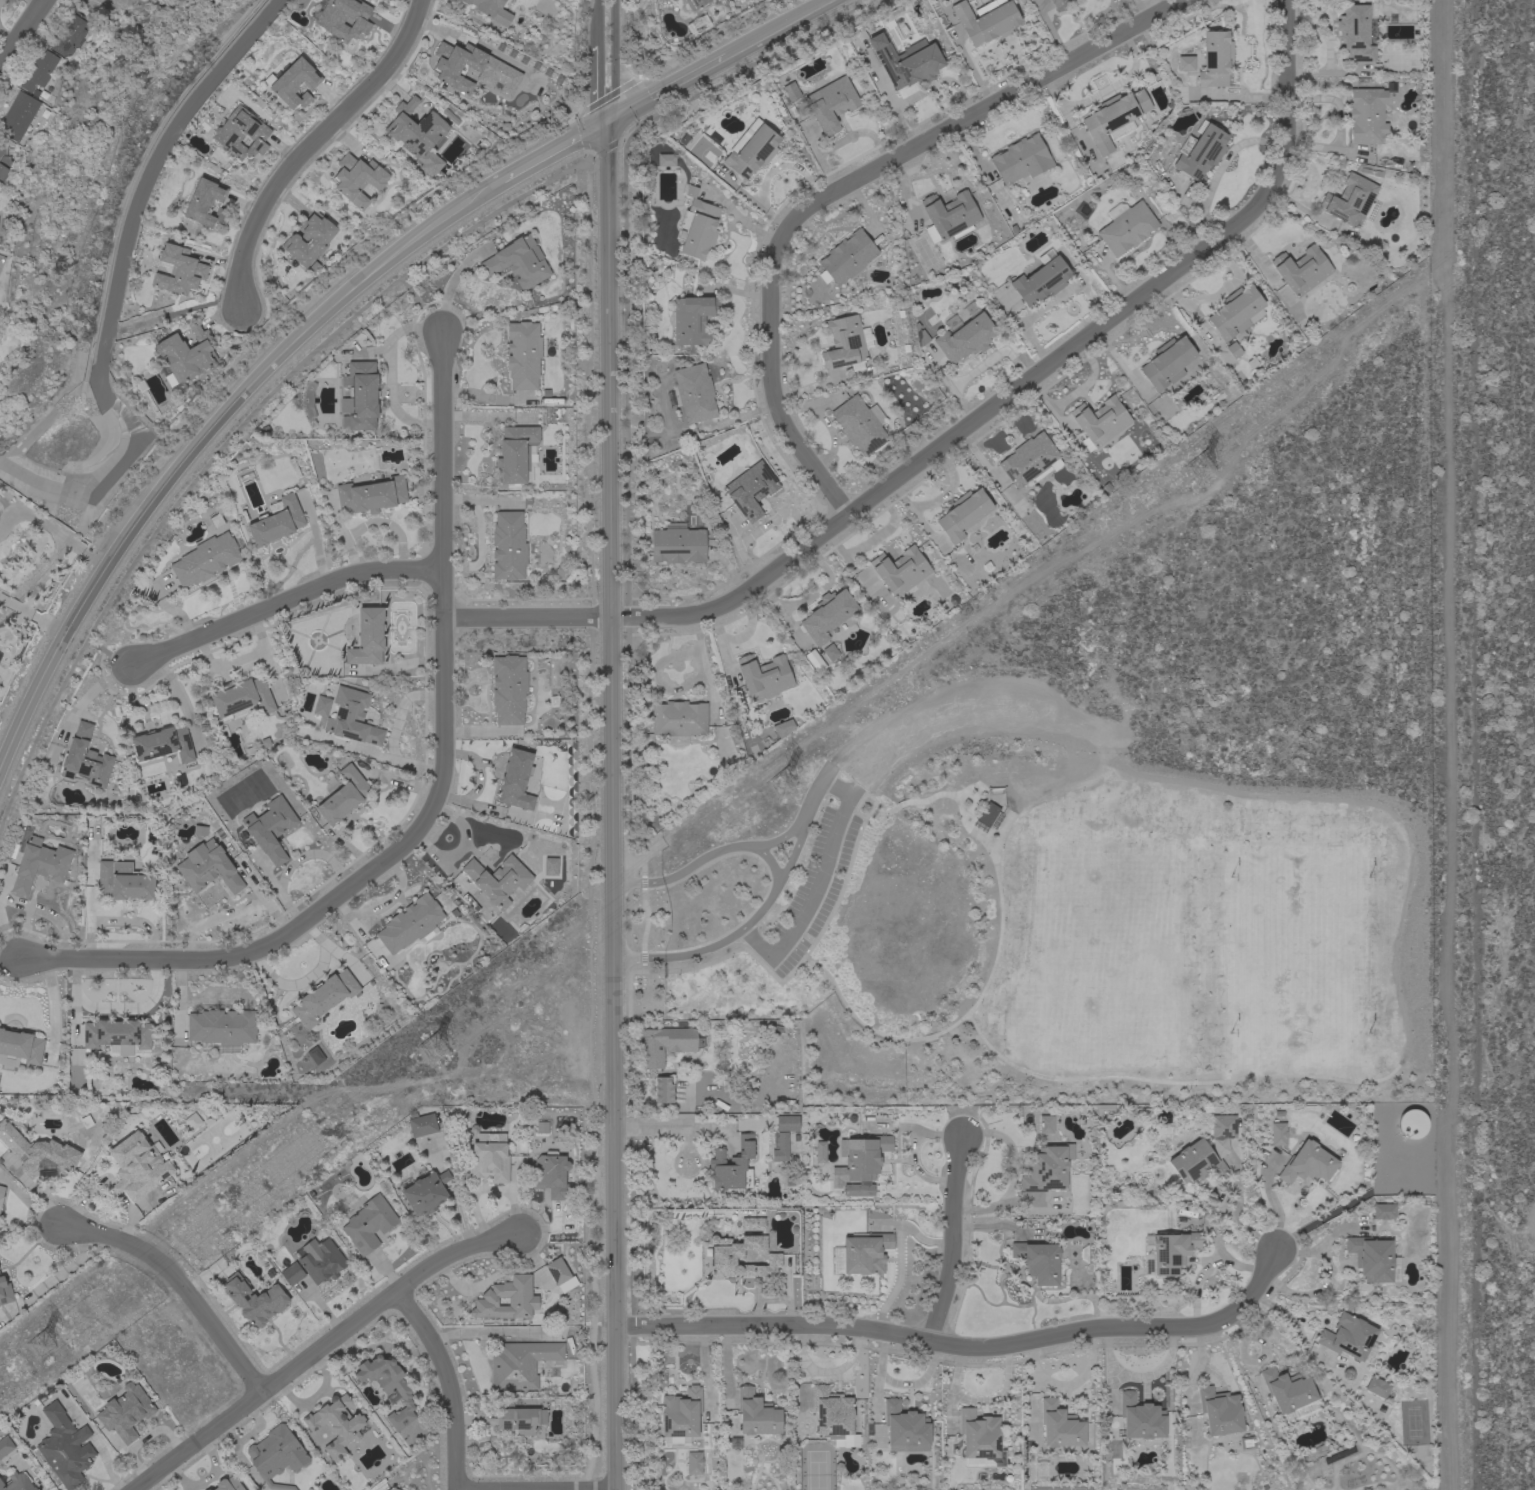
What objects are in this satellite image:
building: (1058, 2)
building: (694, 4)
building: (486, 7)
building: (342, 18)
road: (596, 19)
building: (986, 20)
road: (775, 27)
road: (22, 32)
building: (1357, 33)
building: (68, 36)
road: (711, 37)
building: (1214, 60)
road: (611, 62)
building: (1185, 63)
building: (913, 65)
building: (491, 68)
building: (38, 71)
road: (595, 82)
building: (295, 84)
road: (666, 89)
building: (789, 91)
building: (831, 104)
road: (574, 114)
building: (1368, 115)
building: (18, 116)
building: (1114, 119)
traffic signals: (606, 124)
building: (241, 134)
building: (417, 135)
road: (309, 146)
building: (752, 150)
building: (1200, 151)
road: (550, 152)
building: (3, 159)
building: (1019, 159)
building: (666, 160)
building: (357, 179)
road: (838, 187)
building: (1349, 201)
building: (204, 203)
building: (949, 214)
road: (624, 226)
building: (697, 227)
building: (1126, 227)
road: (125, 236)
building: (309, 239)
building: (846, 258)
building: (518, 262)
building: (1301, 270)
building: (178, 271)
building: (1041, 282)
building: (1236, 313)
building: (693, 319)
building: (965, 334)
building: (846, 343)
building: (1233, 350)
building: (186, 354)
building: (523, 355)
building: (1167, 363)
road: (588, 382)
building: (694, 393)
building: (359, 397)
building: (1099, 422)
building: (859, 425)
road: (962, 429)
road: (231, 434)
road: (204, 438)
building: (517, 455)
building: (1030, 460)
power tower: (1198, 471)
building: (750, 490)
building: (371, 496)
building: (962, 514)
building: (277, 523)
road: (50, 530)
building: (677, 544)
building: (508, 546)
building: (205, 560)
building: (900, 571)
road: (281, 604)
building: (827, 615)
road: (32, 617)
building: (367, 638)
building: (828, 651)
road: (238, 659)
building: (813, 661)
road: (393, 667)
building: (764, 676)
building: (508, 689)
road: (88, 690)
building: (241, 699)
road: (180, 700)
road: (137, 704)
building: (321, 706)
road: (398, 710)
building: (351, 718)
building: (678, 721)
building: (783, 728)
building: (163, 745)
building: (85, 759)
building: (285, 759)
road: (395, 760)
road: (1, 763)
road: (477, 779)
building: (516, 779)
power tower: (781, 788)
road: (835, 789)
park: (1114, 793)
road: (814, 794)
building: (343, 797)
road: (960, 797)
road: (847, 799)
road: (1320, 799)
road: (432, 802)
road: (609, 806)
road: (872, 813)
building: (987, 814)
building: (270, 829)
road: (780, 838)
road: (458, 848)
road: (790, 857)
road: (638, 860)
road: (293, 861)
building: (38, 862)
building: (207, 867)
building: (550, 867)
building: (497, 880)
building: (123, 882)
road: (641, 883)
road: (776, 883)
park: (1102, 883)
parking lot: (812, 888)
road: (816, 890)
road: (381, 905)
road: (644, 920)
building: (410, 925)
road: (756, 943)
road: (806, 949)
road: (642, 958)
park: (1302, 959)
road: (642, 968)
park: (1103, 977)
building: (324, 998)
road: (967, 1011)
building: (771, 1029)
building: (222, 1030)
building: (117, 1037)
road: (962, 1038)
building: (667, 1044)
building: (19, 1049)
power tower: (432, 1050)
building: (313, 1057)
road: (1169, 1082)
building: (663, 1090)
building: (192, 1122)
building: (787, 1123)
building: (1044, 1124)
building: (1411, 1124)
building: (422, 1125)
building: (1222, 1126)
building: (541, 1127)
road: (661, 1127)
building: (1277, 1134)
building: (780, 1148)
building: (820, 1152)
building: (38, 1155)
building: (489, 1158)
building: (859, 1163)
building: (1196, 1163)
building: (1307, 1164)
building: (732, 1166)
building: (137, 1167)
building: (1047, 1169)
building: (551, 1176)
building: (425, 1193)
building: (1, 1195)
building: (1384, 1211)
road: (1236, 1215)
building: (368, 1224)
building: (753, 1227)
road: (952, 1242)
building: (1168, 1252)
building: (861, 1254)
building: (741, 1259)
building: (1373, 1259)
building: (1038, 1261)
building: (315, 1265)
building: (560, 1276)
road: (178, 1285)
building: (5, 1292)
building: (509, 1297)
building: (254, 1300)
road: (1296, 1332)
building: (1349, 1338)
power tower: (40, 1346)
road: (317, 1348)
road: (959, 1349)
building: (521, 1364)
road: (440, 1384)
building: (388, 1387)
building: (1377, 1387)
building: (1289, 1394)
building: (1219, 1411)
building: (125, 1412)
building: (756, 1413)
building: (831, 1413)
building: (680, 1417)
building: (1140, 1418)
building: (517, 1420)
building: (335, 1424)
building: (1059, 1426)
building: (905, 1427)
building: (980, 1439)
building: (5, 1446)
building: (64, 1447)
building: (276, 1455)
building: (693, 1463)
building: (17, 1482)
building: (228, 1484)
building: (393, 1489)
building: (400, 1489)
road: (600, 1489)

